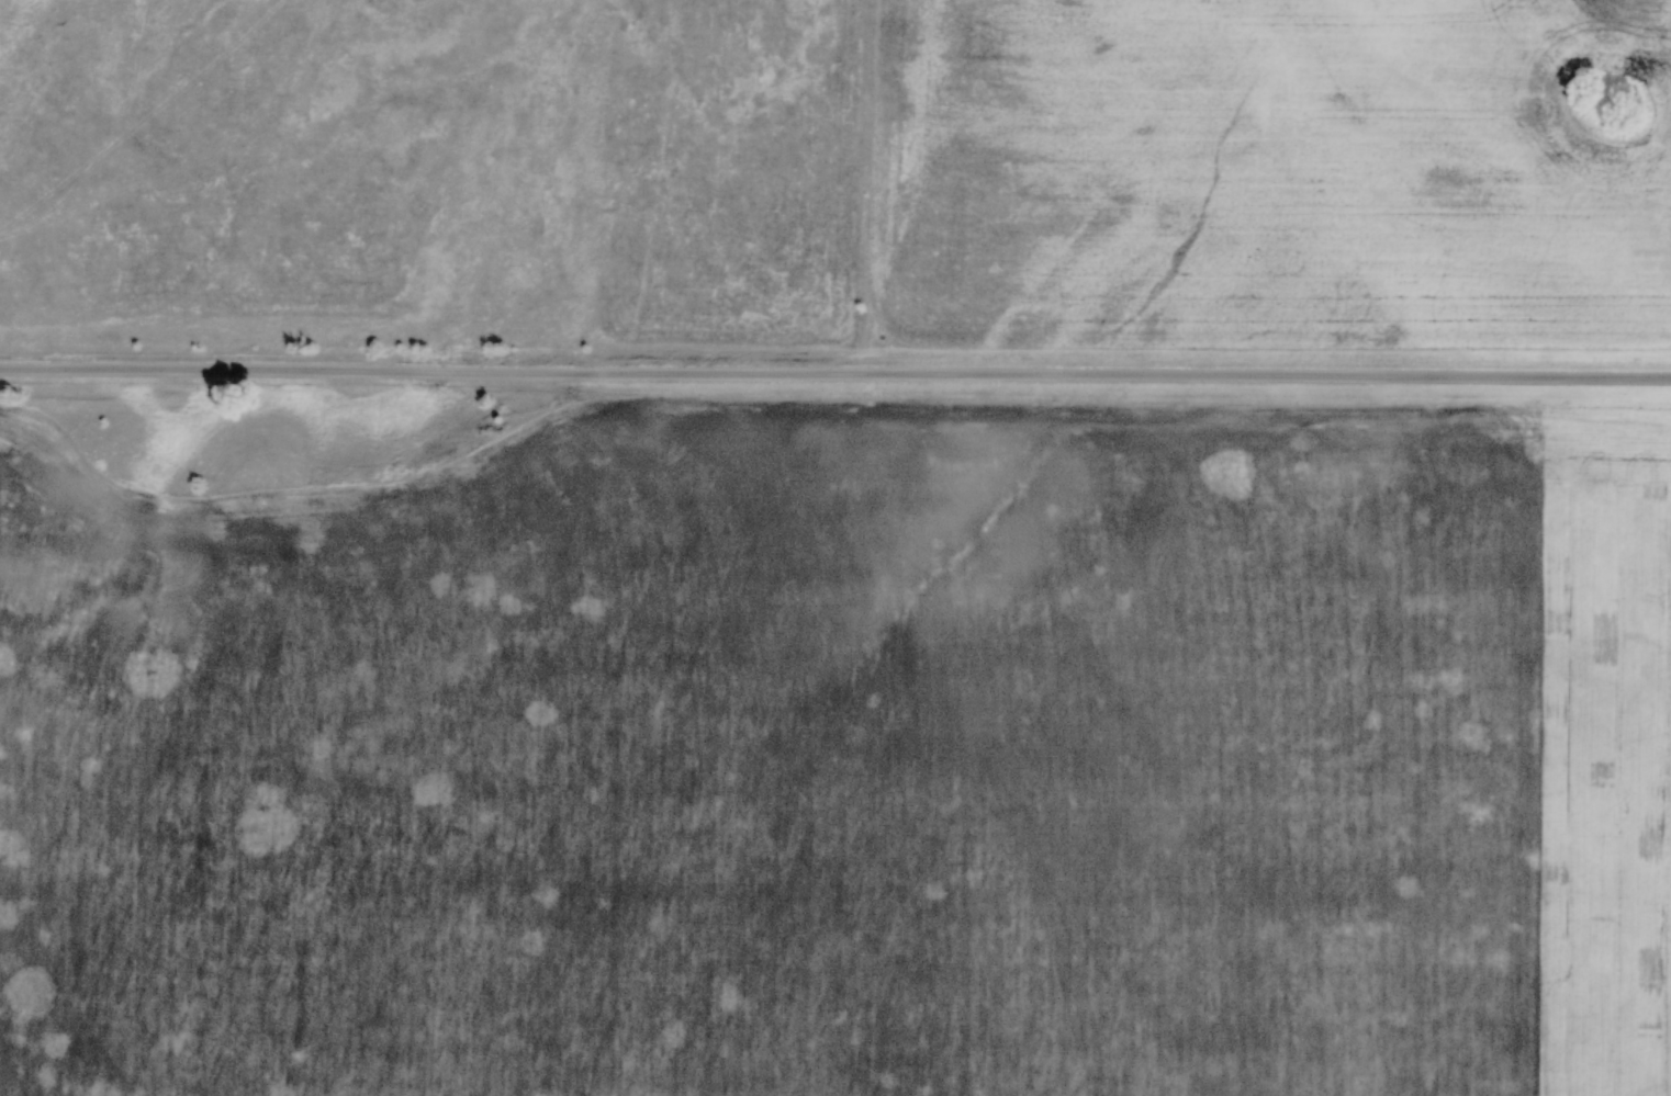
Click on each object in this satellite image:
road: (835, 375)

